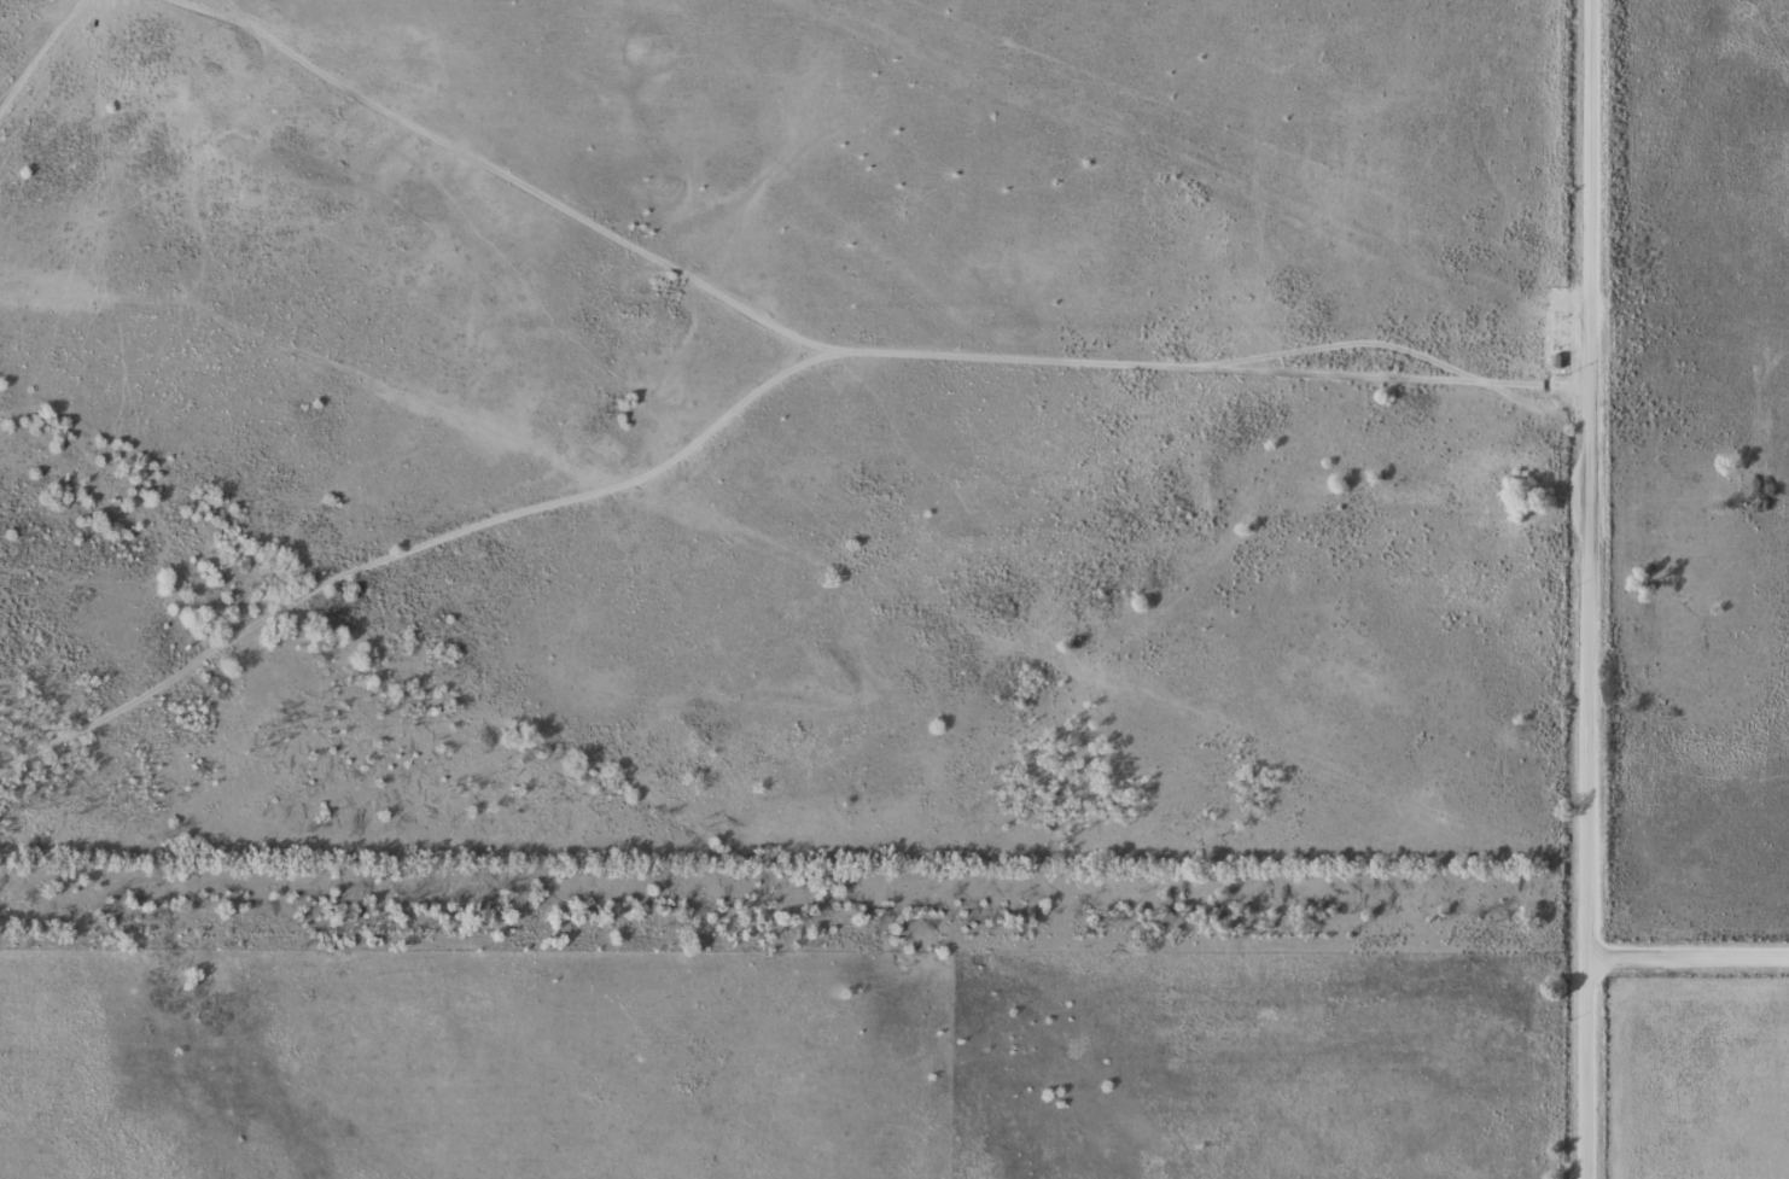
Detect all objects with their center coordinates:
road: (1595, 477)
road: (1691, 953)
road: (1593, 1067)

